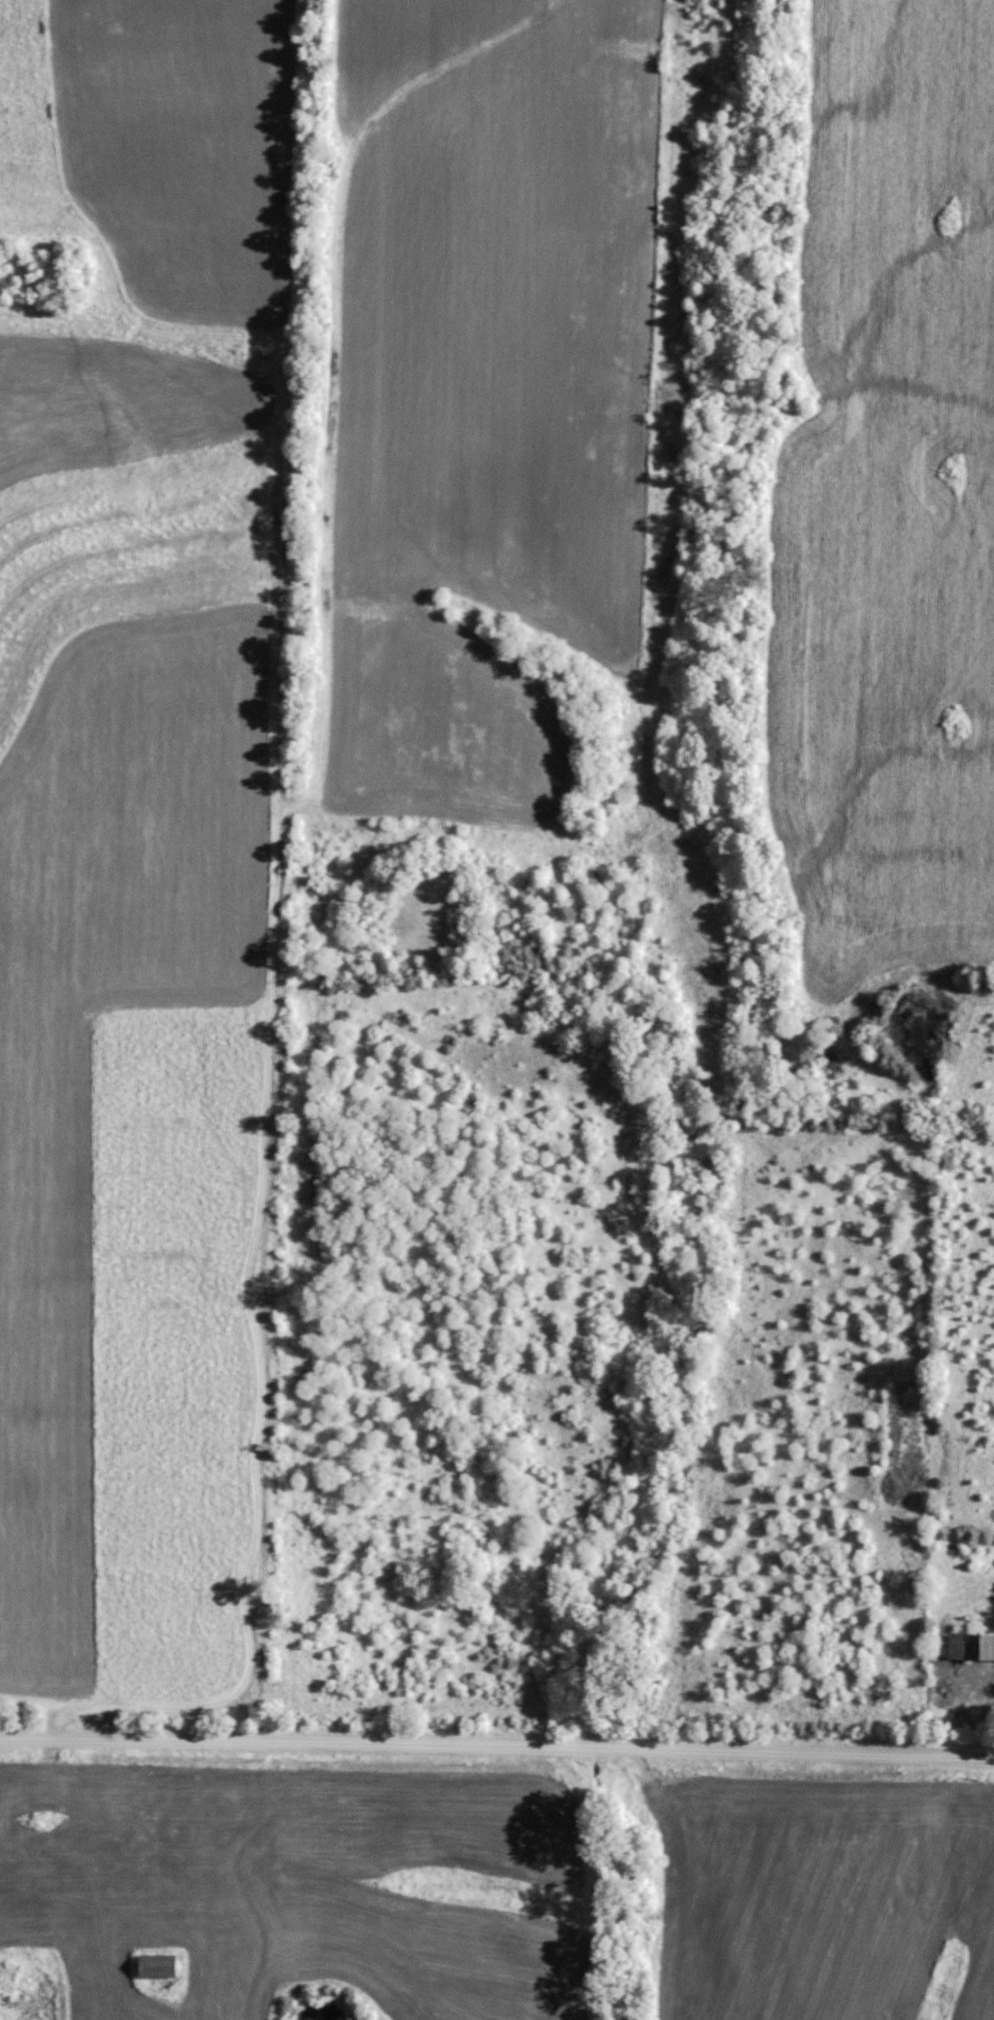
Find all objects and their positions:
building: (971, 1645)
road: (497, 1749)
building: (156, 1965)

